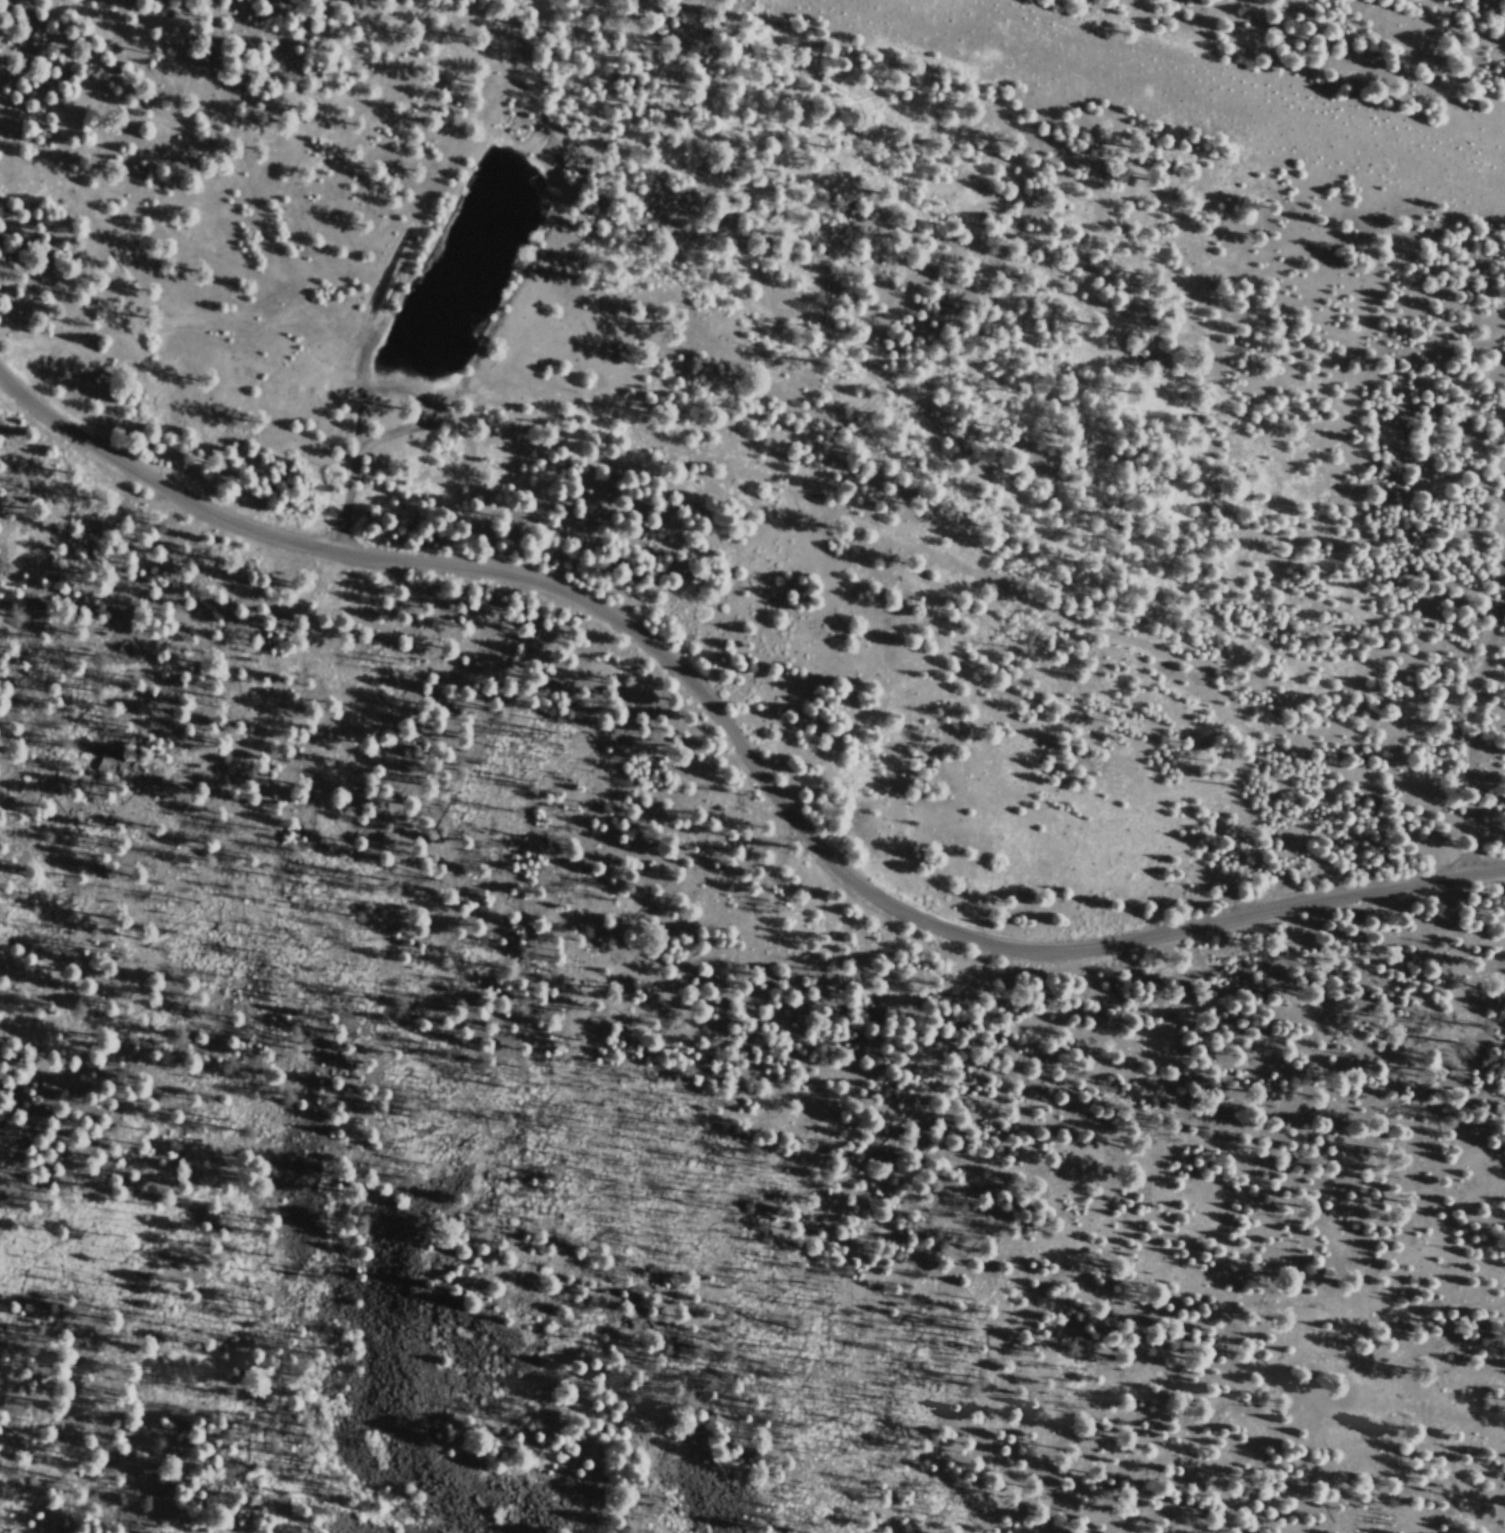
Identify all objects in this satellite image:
wastewater plant: (504, 204)
road: (493, 466)
road: (1472, 733)
road: (738, 746)

